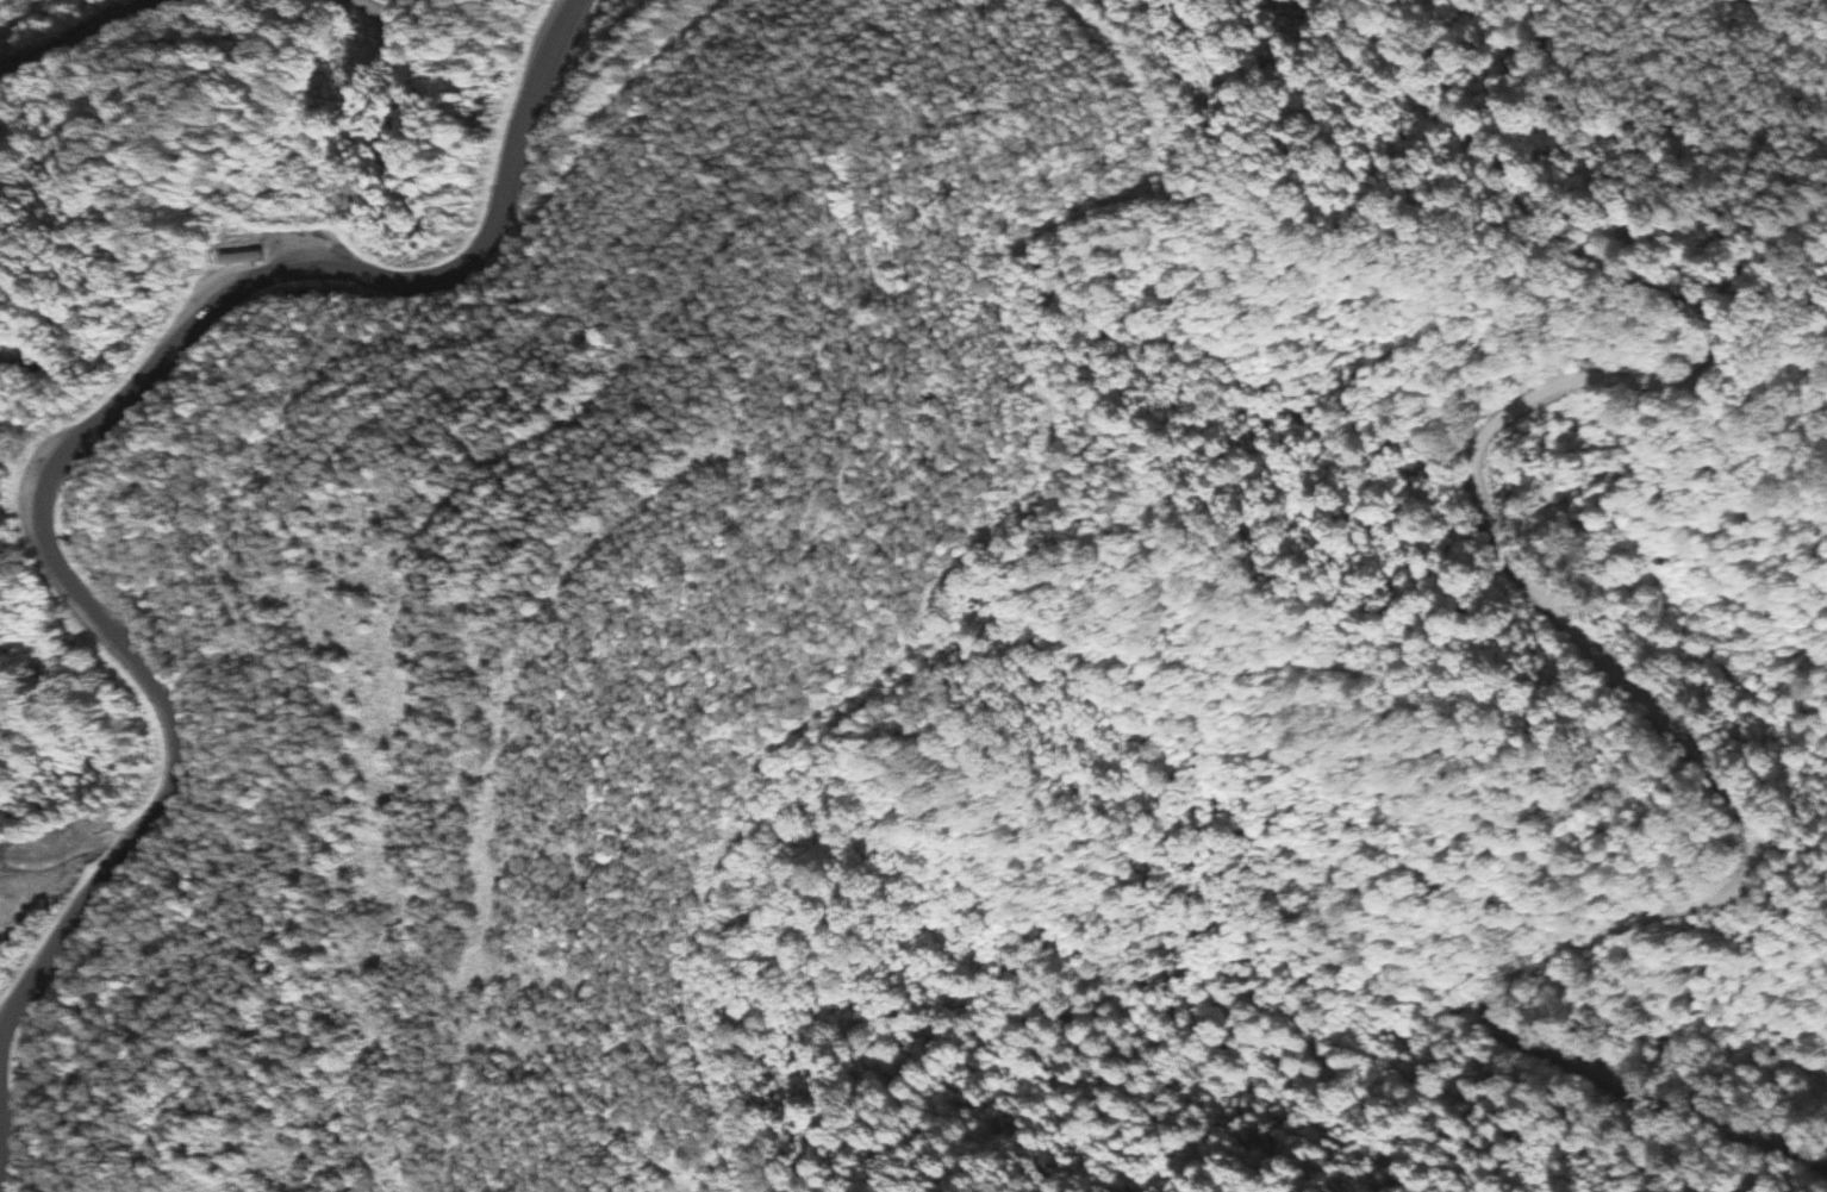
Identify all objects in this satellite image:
road: (80, 31)
building: (245, 258)
road: (96, 417)
road: (1561, 618)
road: (2, 1155)

